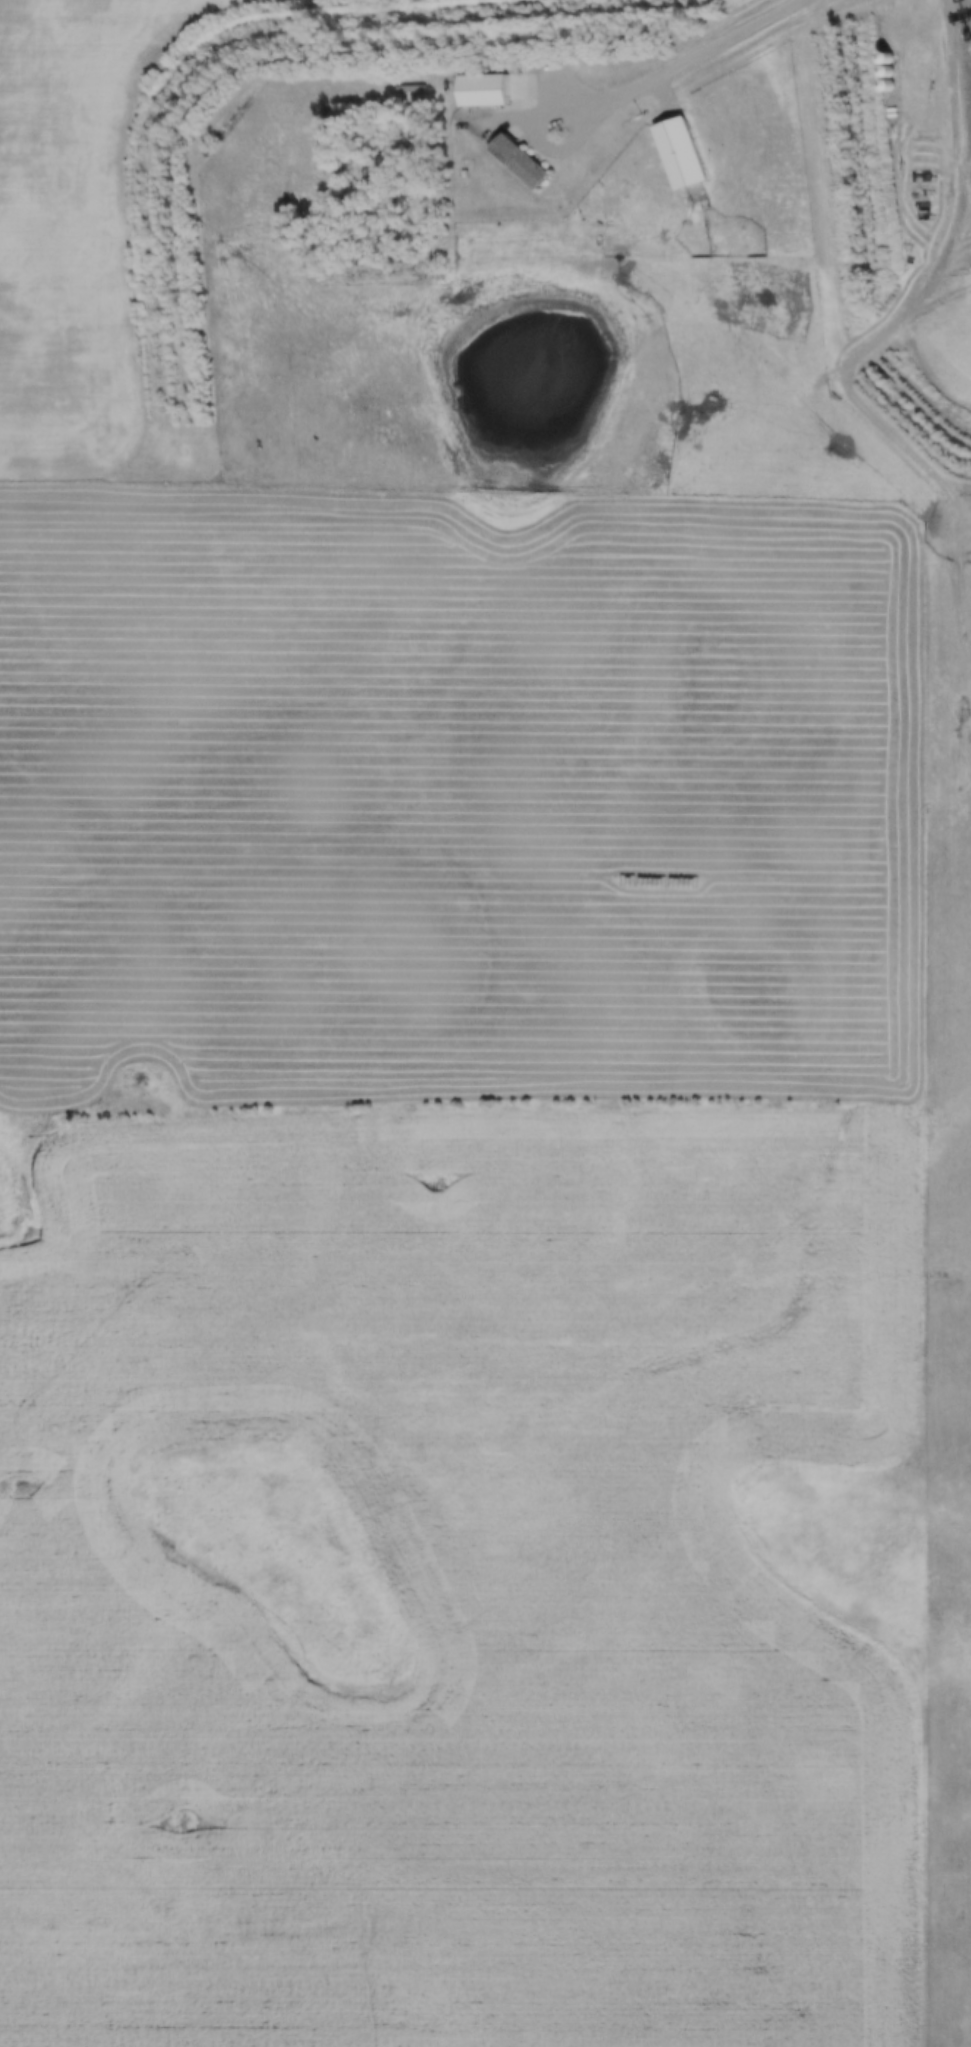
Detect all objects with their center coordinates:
road: (643, 83)
building: (485, 91)
building: (520, 162)

